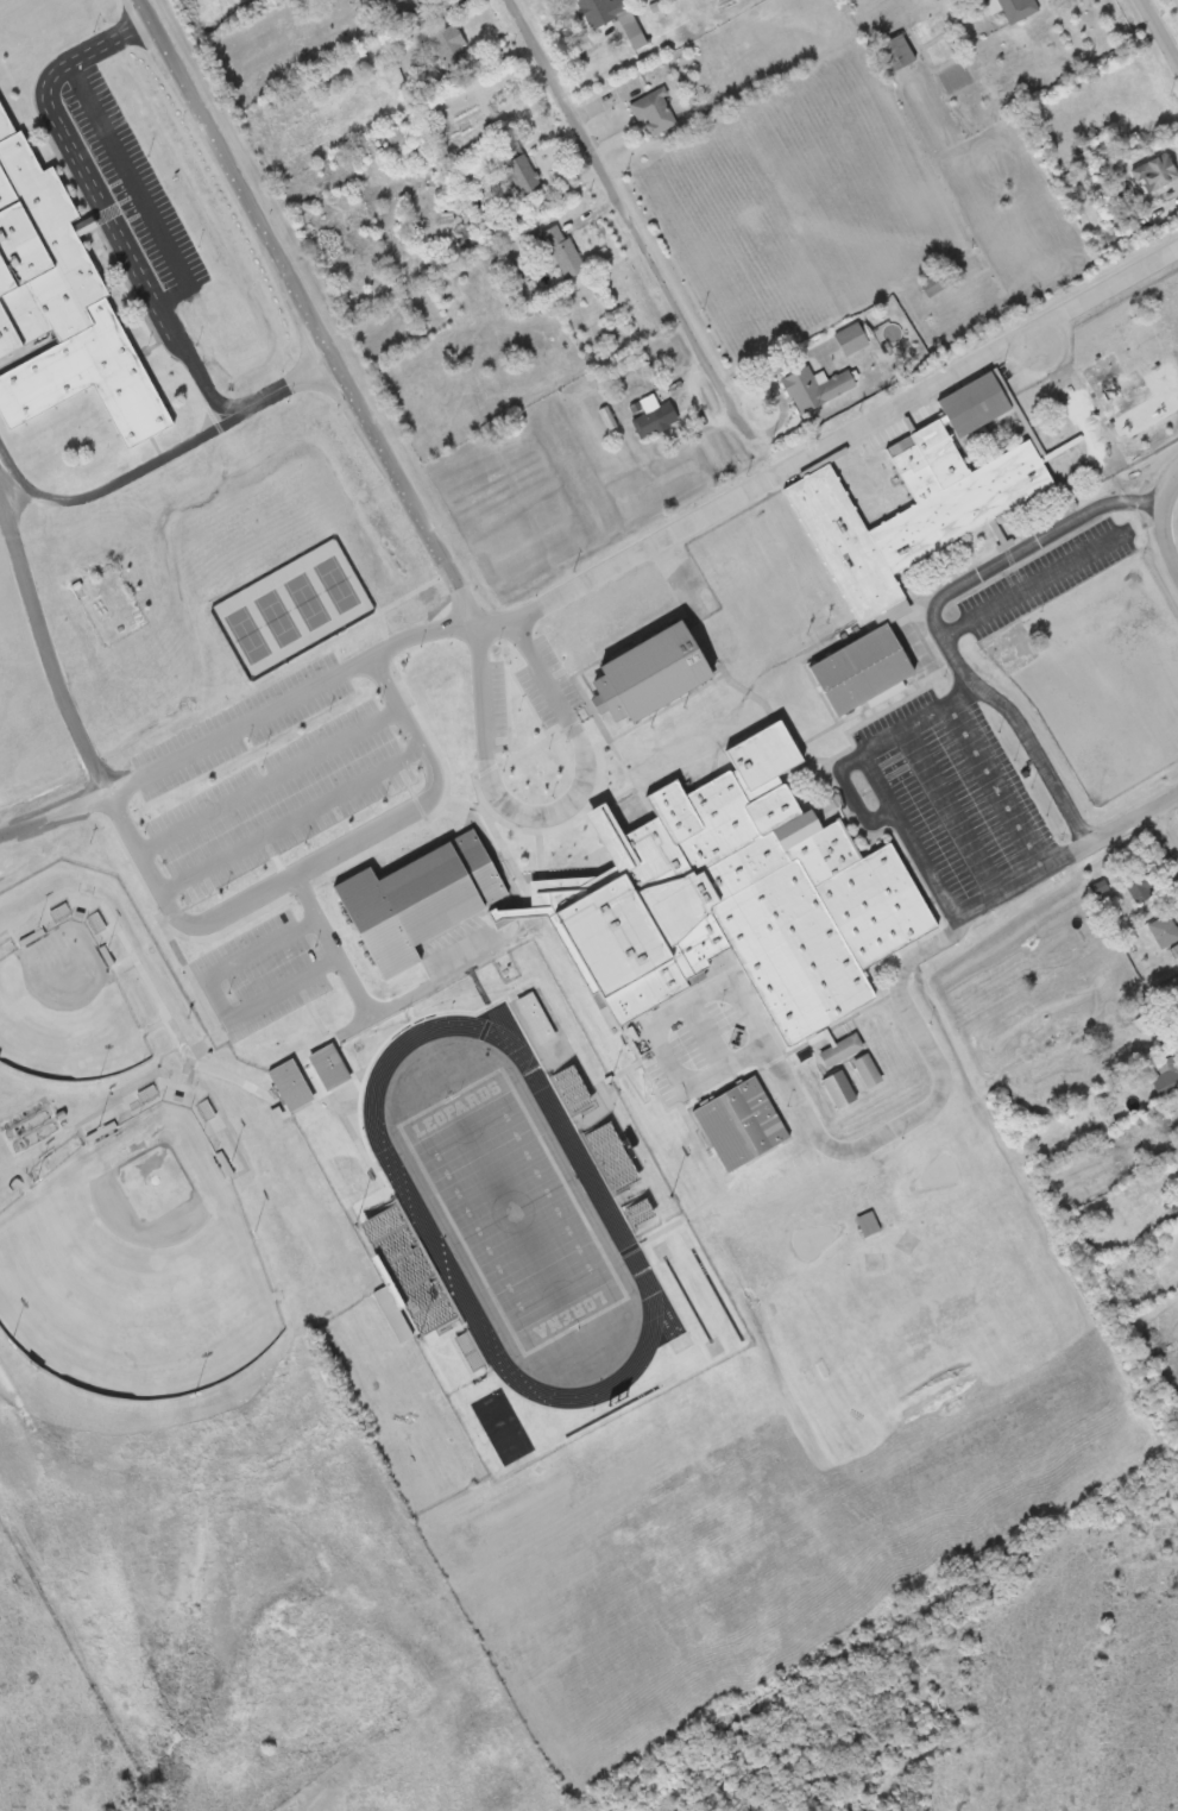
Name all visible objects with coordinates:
building: (398, 1)
building: (1013, 8)
building: (613, 17)
building: (423, 18)
road: (1161, 30)
building: (448, 42)
building: (895, 54)
building: (654, 112)
building: (1155, 172)
building: (522, 175)
road: (134, 189)
road: (625, 216)
road: (126, 250)
building: (563, 251)
building: (936, 282)
building: (59, 313)
building: (455, 316)
building: (851, 339)
building: (815, 386)
building: (974, 403)
building: (654, 415)
building: (906, 511)
road: (1165, 522)
road: (524, 620)
road: (938, 622)
building: (859, 669)
building: (645, 672)
road: (244, 735)
road: (878, 782)
road: (283, 784)
road: (556, 817)
road: (1136, 819)
road: (303, 823)
road: (1165, 835)
road: (322, 869)
building: (1141, 887)
building: (738, 898)
building: (418, 901)
building: (59, 913)
building: (95, 922)
building: (1165, 930)
road: (344, 949)
road: (900, 988)
road: (433, 991)
building: (1177, 995)
road: (229, 1000)
park: (64, 1010)
building: (534, 1017)
building: (881, 1019)
building: (839, 1049)
building: (328, 1067)
building: (867, 1069)
building: (787, 1074)
building: (1167, 1079)
building: (289, 1083)
building: (569, 1088)
building: (838, 1088)
building: (146, 1094)
building: (204, 1109)
building: (738, 1123)
building: (609, 1156)
track: (585, 1172)
building: (1177, 1200)
park: (511, 1211)
building: (637, 1212)
building: (868, 1222)
track: (437, 1251)
park: (134, 1265)
building: (407, 1270)
building: (392, 1314)
building: (467, 1351)

